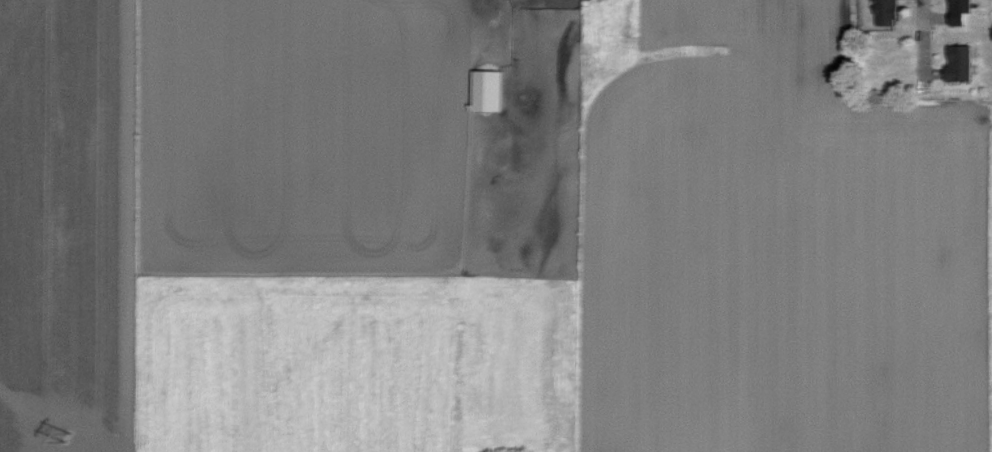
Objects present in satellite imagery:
building: (964, 11)
building: (891, 12)
road: (924, 42)
road: (524, 49)
building: (964, 63)
building: (493, 90)
crop: (778, 246)

